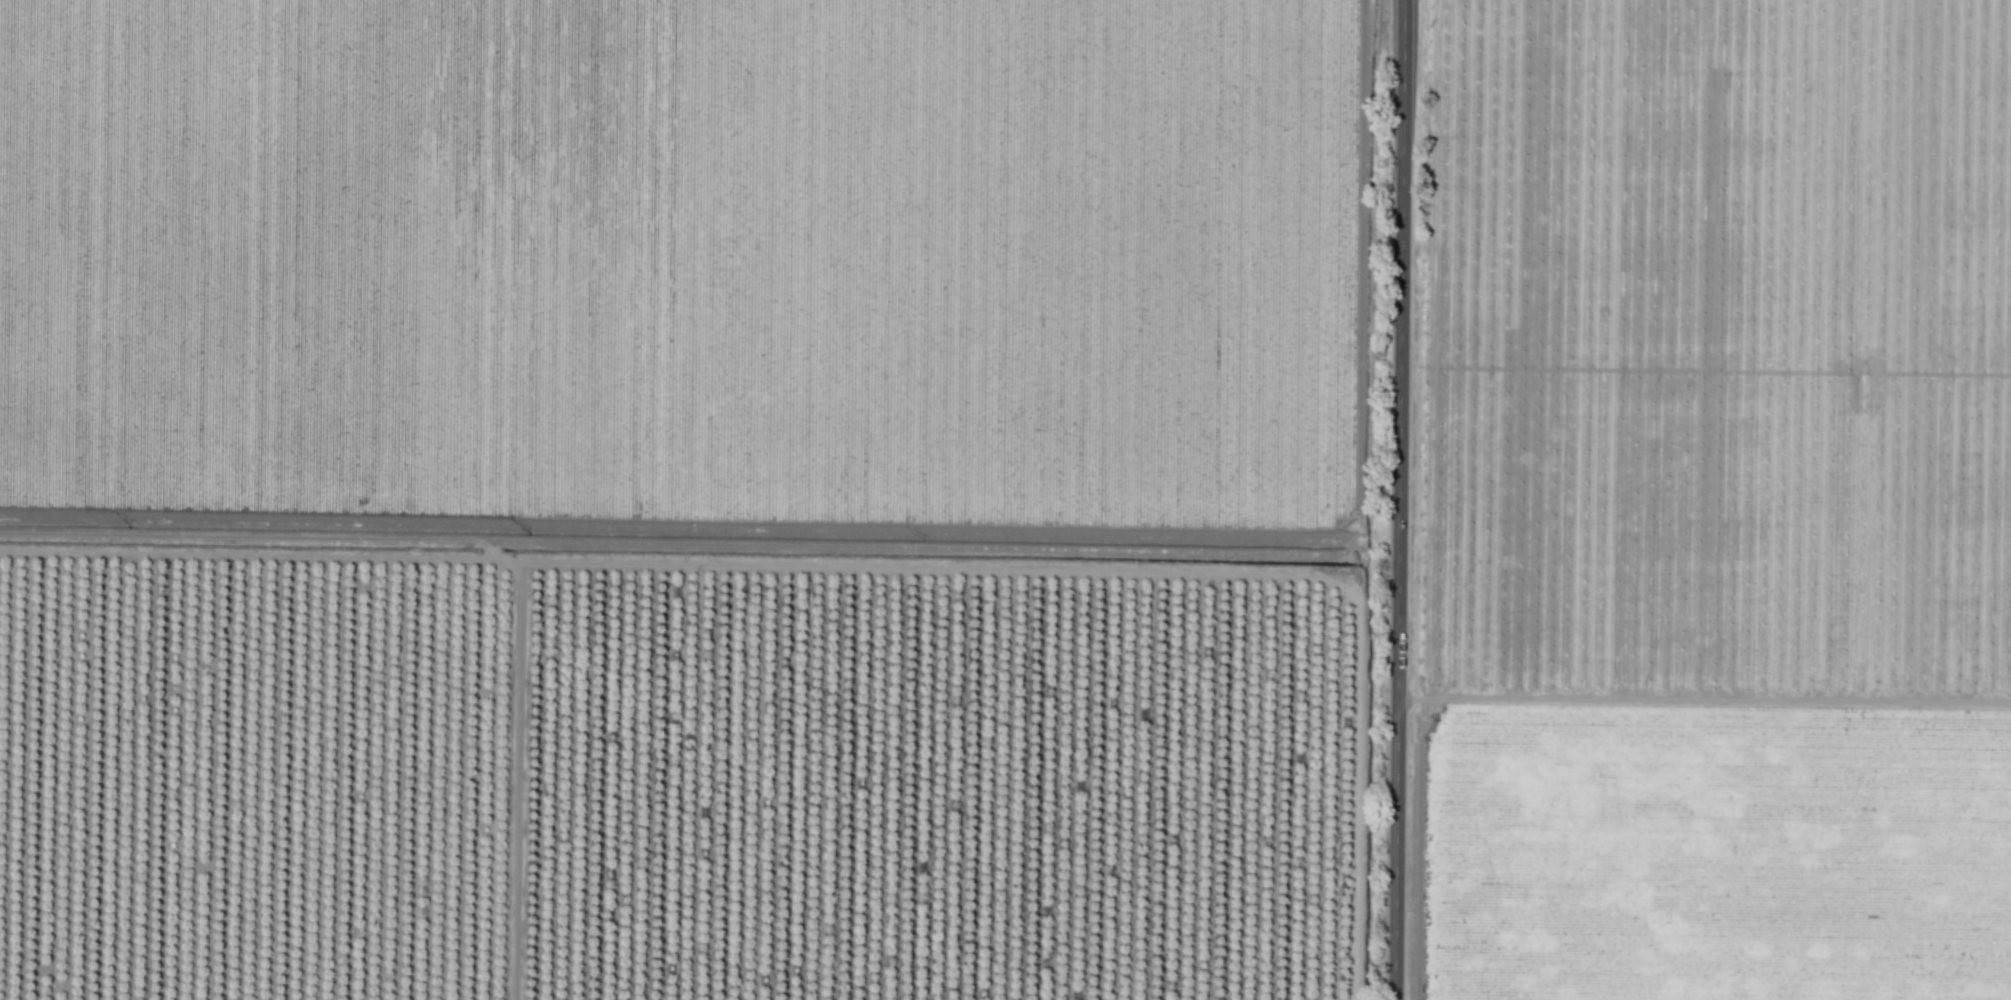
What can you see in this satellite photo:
road: (1397, 500)

